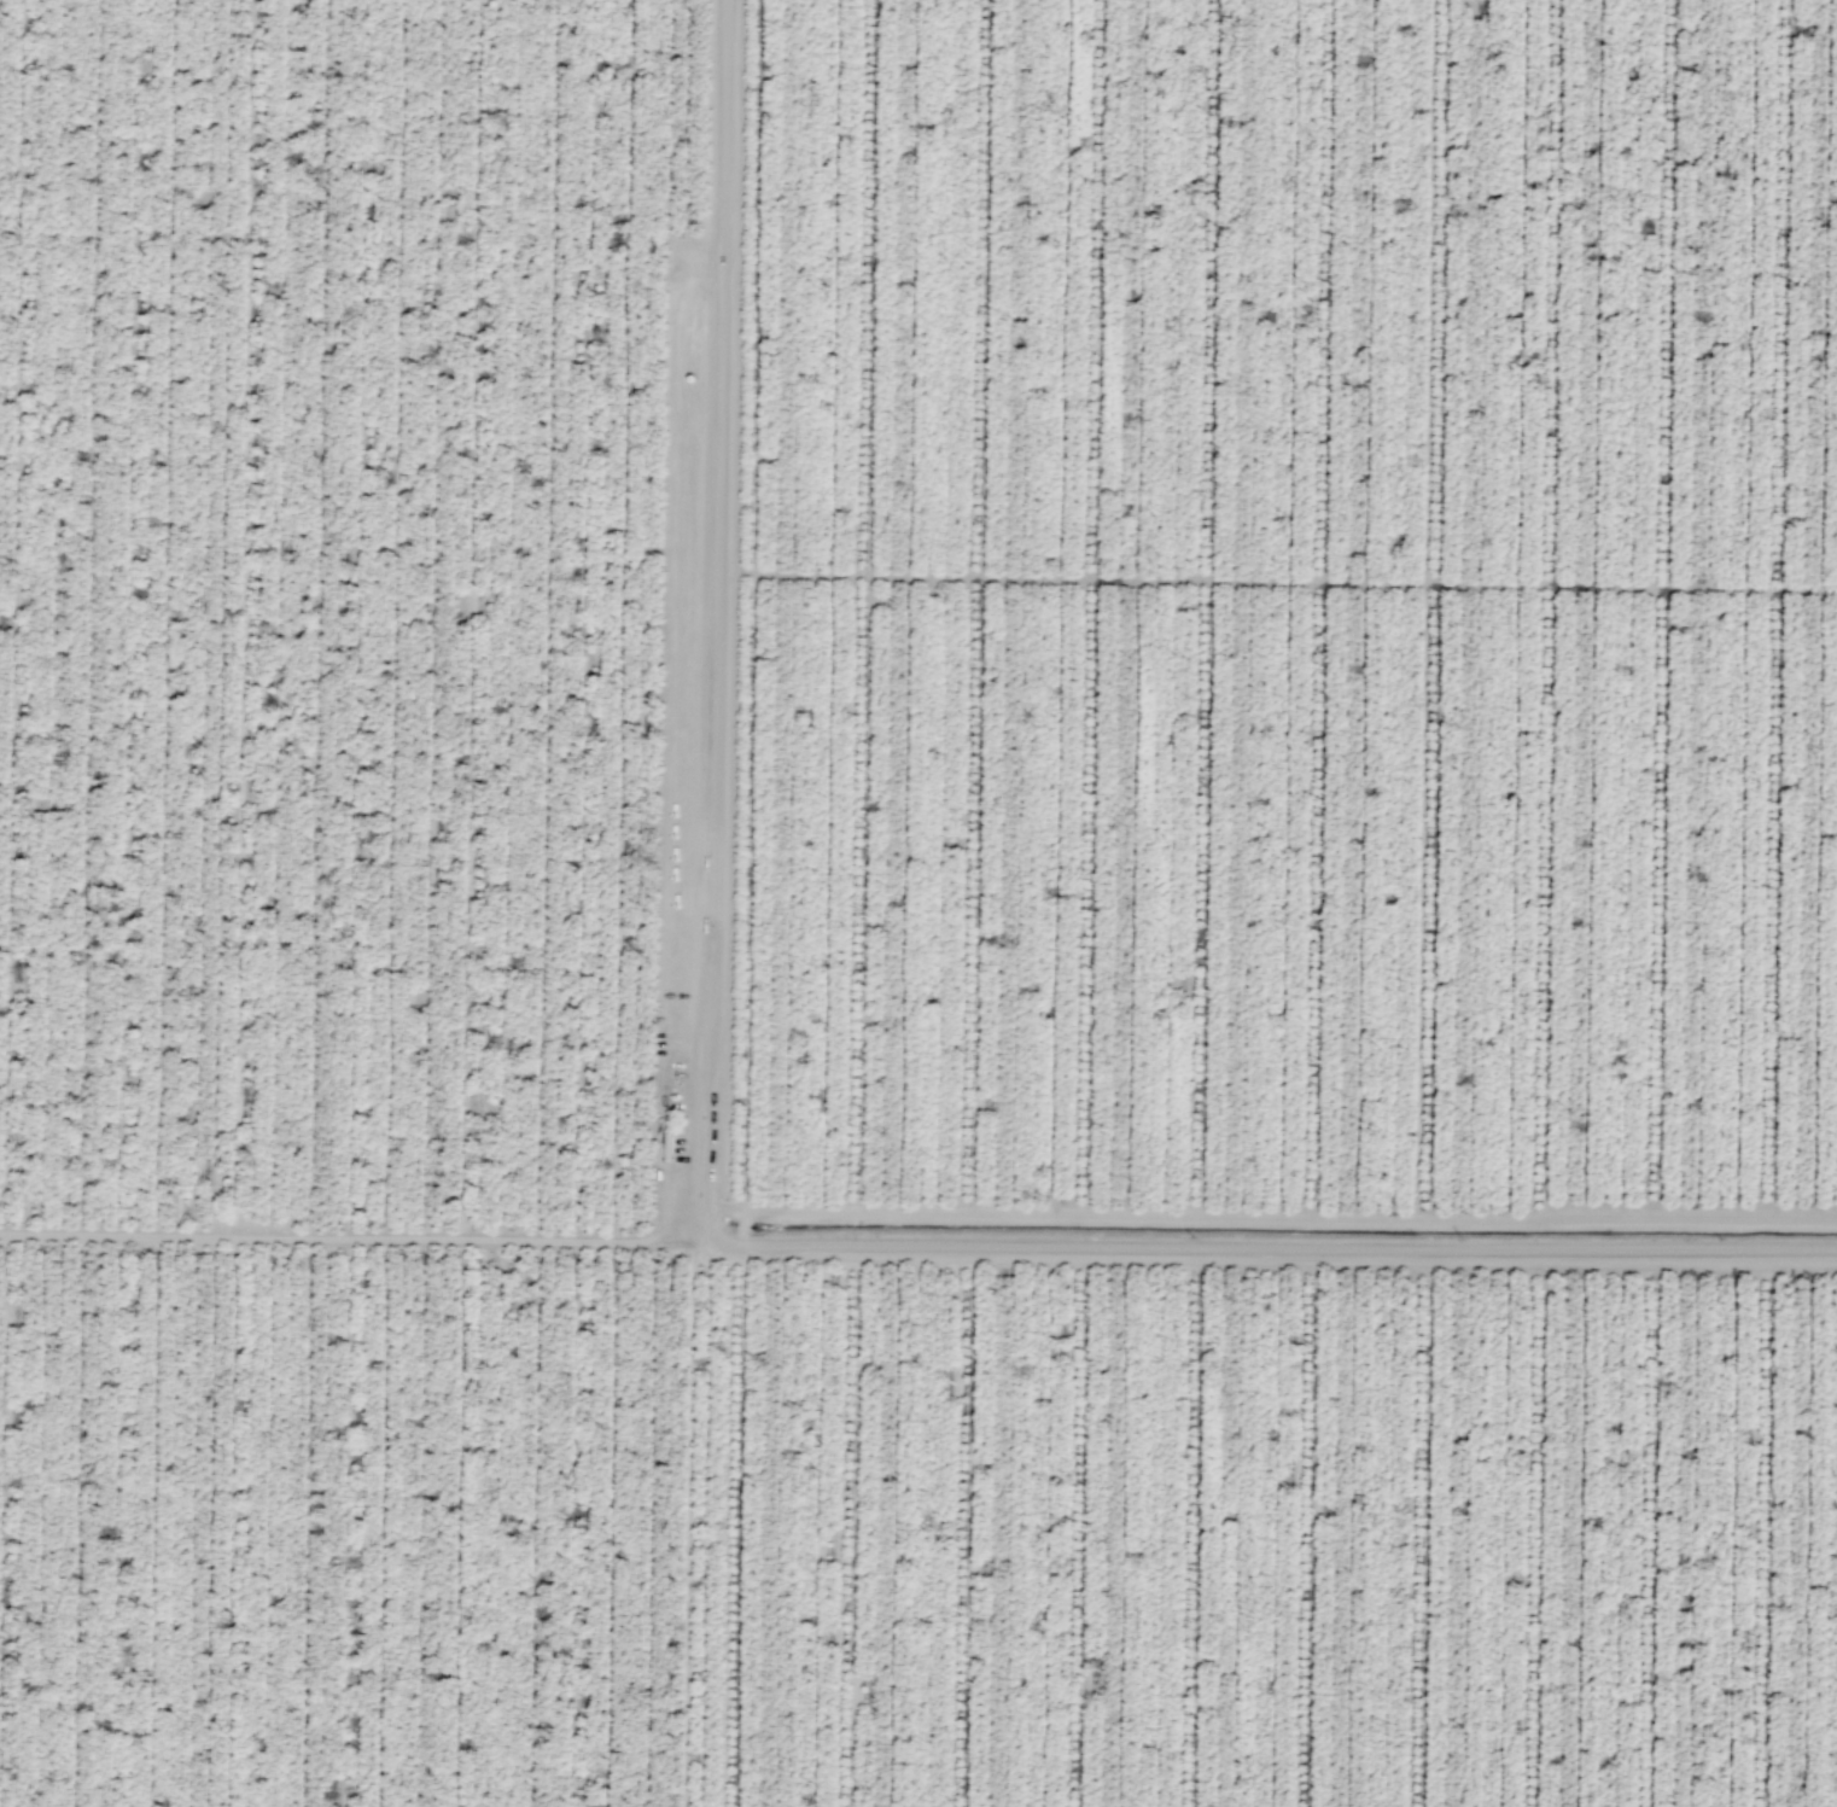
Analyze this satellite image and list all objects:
road: (1277, 581)
road: (868, 606)
road: (974, 606)
road: (1092, 607)
road: (1202, 607)
road: (1316, 607)
road: (1434, 607)
road: (1544, 607)
road: (1662, 608)
road: (1778, 608)
road: (692, 1183)
road: (1265, 1216)
road: (356, 1235)
road: (1192, 1526)
road: (1308, 1526)
road: (1423, 1526)
road: (1539, 1526)
road: (1650, 1526)
road: (853, 1527)
road: (963, 1527)
road: (1081, 1527)

